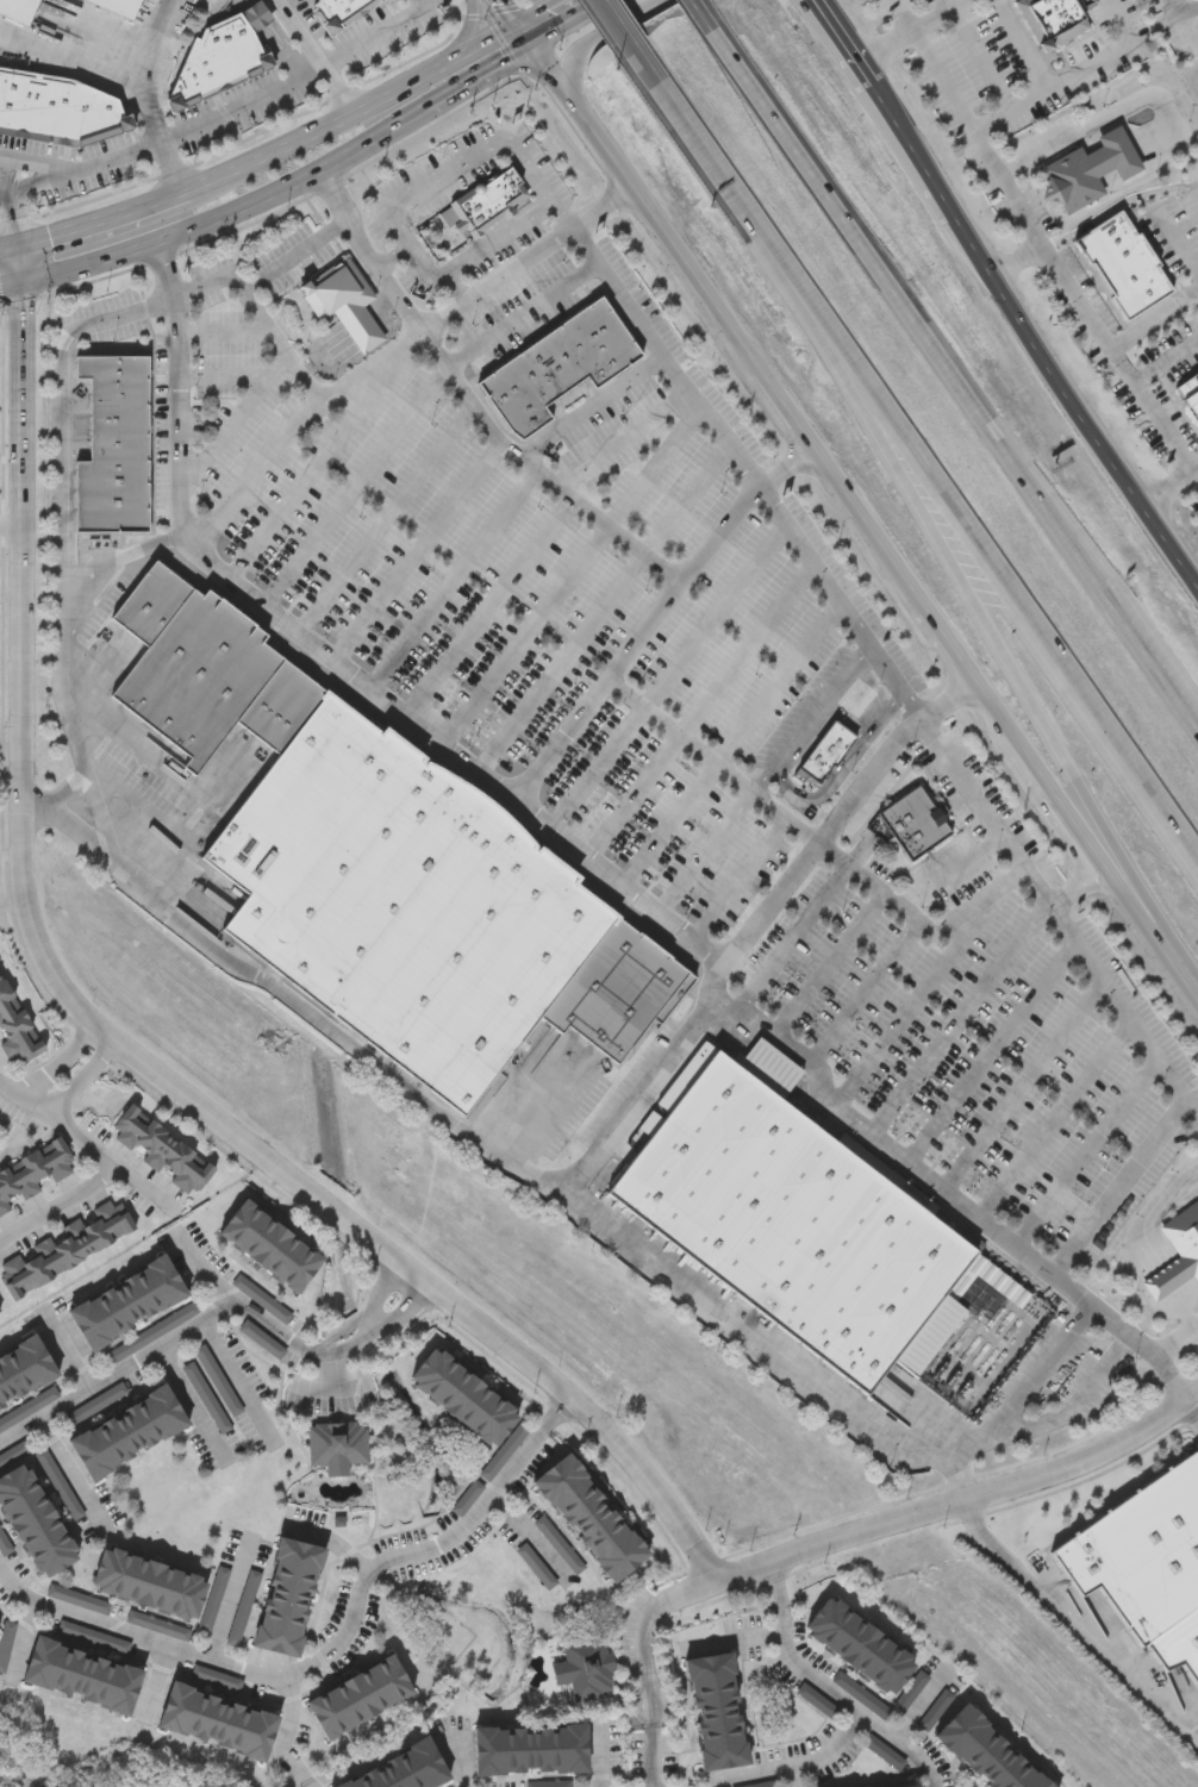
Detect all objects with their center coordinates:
building: (320, 0)
road: (820, 1)
building: (29, 4)
building: (119, 6)
building: (341, 8)
road: (1179, 13)
road: (542, 14)
road: (707, 15)
building: (257, 17)
road: (904, 17)
building: (1052, 19)
road: (514, 25)
road: (575, 25)
traffic signals: (517, 29)
road: (470, 31)
road: (918, 31)
road: (380, 35)
road: (595, 40)
road: (636, 42)
road: (150, 43)
road: (1022, 46)
building: (233, 50)
traffic signals: (532, 50)
road: (981, 54)
road: (314, 56)
building: (202, 69)
road: (1078, 75)
road: (121, 81)
building: (185, 89)
road: (242, 105)
road: (433, 106)
road: (363, 108)
building: (57, 110)
road: (578, 118)
road: (1099, 121)
road: (40, 163)
road: (461, 165)
building: (1090, 169)
road: (81, 171)
road: (725, 175)
road: (8, 202)
road: (248, 205)
building: (483, 205)
road: (597, 205)
road: (1118, 205)
road: (113, 215)
road: (489, 245)
traffic signals: (17, 246)
road: (8, 248)
road: (1048, 256)
road: (1018, 263)
road: (79, 267)
road: (270, 267)
building: (1123, 267)
road: (426, 268)
road: (495, 276)
road: (691, 279)
traffic signals: (20, 288)
road: (1005, 296)
building: (344, 302)
road: (522, 315)
road: (1158, 317)
building: (616, 332)
road: (267, 333)
building: (601, 342)
building: (586, 352)
road: (1167, 356)
building: (568, 357)
road: (659, 358)
building: (556, 365)
building: (113, 368)
building: (544, 374)
road: (957, 379)
road: (225, 380)
building: (530, 380)
building: (120, 387)
building: (503, 388)
building: (1190, 393)
building: (120, 401)
road: (588, 410)
road: (786, 414)
building: (525, 415)
road: (68, 419)
building: (119, 420)
road: (291, 421)
road: (235, 425)
road: (622, 440)
building: (120, 442)
road: (507, 451)
road: (326, 455)
road: (786, 473)
road: (356, 487)
road: (1168, 487)
building: (113, 492)
road: (385, 518)
road: (10, 526)
road: (869, 535)
road: (418, 555)
road: (993, 556)
road: (816, 566)
road: (569, 576)
road: (451, 581)
road: (969, 591)
building: (141, 595)
building: (152, 605)
road: (492, 610)
road: (601, 611)
building: (164, 613)
road: (948, 649)
road: (69, 663)
road: (667, 675)
building: (199, 677)
road: (892, 683)
road: (595, 689)
road: (944, 702)
building: (281, 708)
road: (700, 710)
road: (991, 710)
road: (811, 719)
road: (730, 742)
road: (456, 756)
building: (823, 757)
road: (711, 761)
road: (1056, 799)
road: (984, 812)
road: (101, 819)
building: (913, 825)
road: (705, 852)
road: (951, 873)
road: (740, 880)
road: (1077, 885)
road: (1123, 891)
road: (888, 896)
building: (404, 904)
road: (791, 943)
road: (1169, 961)
road: (830, 964)
road: (929, 989)
road: (868, 993)
building: (618, 994)
building: (675, 1001)
road: (1116, 1002)
road: (305, 1011)
road: (959, 1020)
building: (15, 1031)
road: (106, 1039)
road: (990, 1052)
road: (56, 1062)
road: (77, 1079)
road: (1023, 1086)
road: (1193, 1107)
road: (548, 1111)
road: (1053, 1119)
building: (163, 1152)
road: (1086, 1155)
road: (106, 1162)
building: (33, 1175)
road: (142, 1187)
road: (1121, 1187)
road: (950, 1198)
road: (1148, 1218)
building: (797, 1221)
building: (273, 1248)
building: (65, 1249)
building: (1178, 1255)
road: (672, 1261)
road: (201, 1264)
road: (1160, 1285)
building: (129, 1305)
road: (1183, 1312)
road: (362, 1316)
building: (0, 1317)
road: (369, 1325)
road: (374, 1335)
road: (1178, 1343)
road: (152, 1348)
road: (68, 1356)
road: (1047, 1363)
building: (25, 1374)
road: (235, 1377)
road: (186, 1399)
building: (472, 1408)
road: (556, 1411)
road: (1193, 1412)
road: (1054, 1420)
building: (130, 1435)
building: (337, 1448)
road: (69, 1469)
building: (467, 1500)
road: (959, 1504)
building: (593, 1520)
building: (36, 1524)
road: (520, 1525)
road: (332, 1541)
building: (559, 1547)
building: (1143, 1554)
building: (535, 1568)
road: (774, 1581)
building: (150, 1586)
building: (289, 1600)
road: (225, 1602)
road: (1074, 1629)
road: (644, 1637)
building: (1178, 1647)
building: (862, 1649)
road: (314, 1663)
building: (585, 1670)
building: (85, 1679)
road: (846, 1698)
building: (361, 1700)
building: (718, 1714)
building: (220, 1724)
road: (286, 1731)
building: (532, 1752)
building: (986, 1752)
road: (653, 1756)
road: (598, 1758)
road: (800, 1768)
building: (405, 1772)
road: (787, 1779)
road: (307, 1783)

